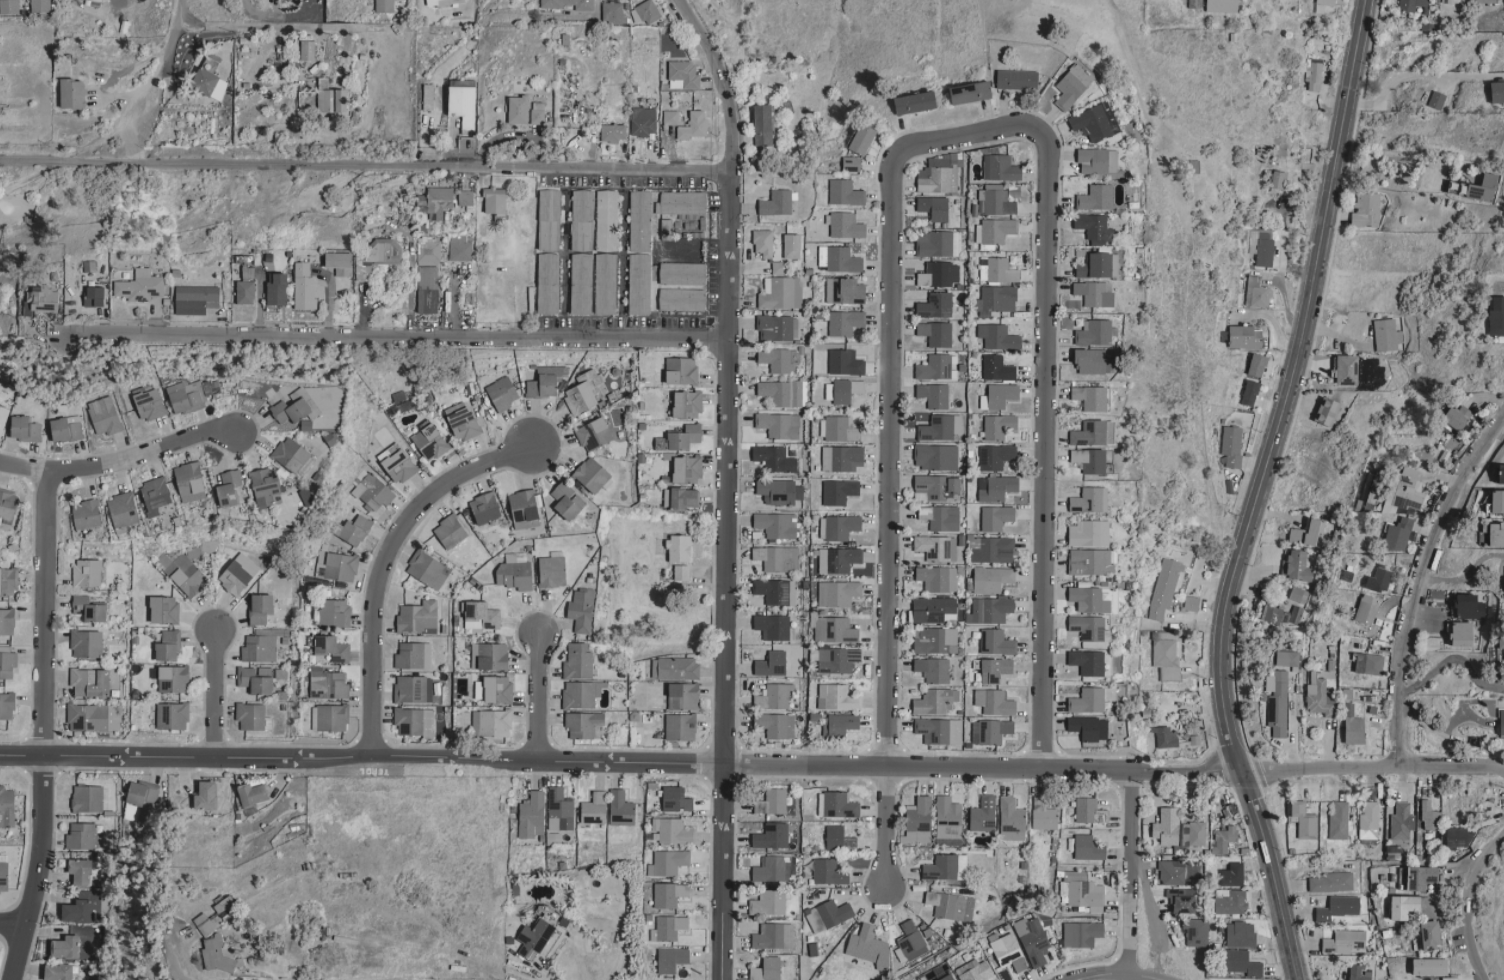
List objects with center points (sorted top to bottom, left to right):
building: (1447, 1)
building: (1485, 1)
building: (443, 2)
building: (568, 4)
road: (601, 4)
building: (1410, 4)
building: (1327, 5)
building: (39, 6)
building: (384, 6)
building: (1222, 6)
building: (8, 7)
road: (735, 7)
building: (648, 12)
building: (613, 13)
road: (275, 14)
road: (257, 25)
road: (174, 36)
road: (711, 43)
building: (307, 51)
building: (1314, 74)
building: (683, 75)
building: (1017, 80)
building: (208, 84)
road: (1403, 85)
building: (1072, 87)
building: (1498, 92)
building: (971, 93)
building: (73, 94)
building: (428, 97)
building: (1437, 100)
building: (331, 101)
building: (463, 101)
building: (915, 103)
building: (528, 112)
building: (670, 117)
building: (643, 121)
building: (1094, 123)
building: (694, 126)
building: (763, 128)
building: (614, 133)
building: (862, 139)
road: (1390, 160)
building: (1098, 161)
road: (368, 163)
building: (851, 164)
building: (1000, 168)
building: (938, 177)
building: (1277, 182)
building: (1476, 188)
building: (845, 193)
building: (1096, 198)
building: (468, 199)
building: (497, 202)
building: (438, 203)
building: (682, 203)
building: (994, 203)
building: (776, 204)
building: (934, 208)
building: (1367, 210)
building: (549, 220)
building: (582, 220)
building: (606, 220)
building: (640, 221)
building: (845, 226)
building: (1095, 228)
building: (763, 243)
building: (938, 244)
building: (792, 246)
building: (1261, 247)
building: (461, 249)
building: (382, 259)
building: (839, 259)
building: (347, 266)
building: (1097, 266)
building: (778, 268)
building: (997, 271)
building: (682, 274)
building: (939, 274)
building: (255, 275)
building: (548, 284)
building: (581, 284)
building: (605, 284)
building: (639, 284)
building: (146, 289)
building: (312, 290)
building: (844, 291)
building: (780, 293)
building: (1257, 293)
building: (1094, 294)
building: (252, 295)
building: (285, 295)
building: (995, 299)
building: (102, 300)
building: (682, 300)
building: (202, 302)
building: (430, 302)
building: (51, 303)
building: (935, 306)
building: (1494, 311)
building: (842, 324)
building: (777, 328)
road: (403, 333)
building: (937, 333)
building: (1094, 333)
building: (1383, 334)
building: (999, 337)
building: (775, 360)
building: (1091, 362)
building: (844, 363)
building: (937, 368)
building: (997, 369)
building: (1340, 369)
building: (681, 370)
building: (545, 381)
building: (210, 387)
building: (843, 391)
building: (783, 392)
building: (1246, 392)
building: (502, 393)
building: (582, 393)
building: (933, 395)
building: (184, 397)
building: (999, 397)
building: (1091, 398)
building: (148, 401)
building: (687, 403)
building: (313, 405)
building: (290, 410)
building: (1322, 411)
building: (104, 415)
building: (1448, 415)
building: (3, 416)
building: (464, 423)
building: (778, 424)
road: (734, 425)
building: (999, 427)
building: (25, 428)
building: (66, 428)
building: (940, 428)
building: (836, 429)
road: (1050, 430)
building: (594, 434)
building: (1092, 434)
building: (684, 437)
building: (431, 441)
building: (1230, 446)
road: (893, 453)
building: (293, 455)
building: (936, 457)
building: (995, 457)
building: (774, 458)
building: (841, 458)
road: (120, 459)
building: (1090, 461)
building: (400, 465)
building: (687, 468)
building: (591, 474)
building: (190, 481)
building: (229, 487)
building: (937, 487)
building: (266, 488)
building: (996, 488)
building: (1407, 489)
building: (779, 491)
building: (839, 491)
building: (372, 492)
road: (1258, 492)
building: (155, 494)
building: (306, 497)
building: (680, 497)
building: (567, 500)
building: (1085, 500)
building: (1493, 501)
building: (8, 502)
building: (486, 507)
building: (122, 509)
building: (524, 509)
building: (86, 514)
building: (941, 517)
building: (996, 517)
building: (776, 524)
building: (839, 526)
building: (355, 530)
building: (450, 531)
building: (1303, 531)
building: (1084, 532)
building: (1395, 534)
building: (1491, 534)
building: (936, 547)
building: (679, 548)
building: (991, 549)
road: (392, 553)
building: (777, 558)
building: (841, 559)
building: (1085, 560)
building: (336, 565)
building: (1292, 565)
building: (427, 569)
building: (552, 569)
building: (515, 571)
building: (87, 572)
building: (182, 572)
building: (681, 572)
road: (1468, 572)
building: (239, 573)
building: (937, 578)
building: (992, 579)
building: (1374, 579)
building: (8, 580)
building: (1162, 587)
building: (1501, 588)
road: (1425, 590)
building: (775, 591)
building: (838, 593)
building: (1085, 599)
building: (1463, 603)
building: (261, 607)
building: (89, 608)
building: (164, 608)
building: (1362, 608)
building: (581, 609)
building: (934, 609)
building: (990, 609)
building: (335, 612)
building: (1279, 614)
building: (480, 616)
building: (418, 617)
building: (7, 621)
building: (772, 626)
building: (1085, 627)
building: (832, 629)
building: (1452, 633)
building: (934, 640)
building: (996, 642)
building: (86, 643)
building: (168, 646)
building: (1498, 646)
building: (259, 648)
building: (331, 649)
building: (1164, 654)
building: (413, 655)
building: (489, 655)
building: (834, 659)
building: (578, 661)
building: (1084, 661)
road: (1450, 662)
building: (772, 663)
building: (1365, 663)
building: (7, 664)
building: (674, 668)
building: (932, 669)
building: (995, 669)
building: (281, 673)
building: (174, 679)
building: (256, 679)
building: (90, 682)
building: (328, 684)
road: (218, 687)
building: (412, 688)
road: (545, 688)
building: (498, 689)
building: (580, 693)
building: (684, 695)
building: (1314, 695)
building: (772, 696)
building: (837, 697)
building: (1084, 700)
building: (933, 701)
building: (994, 702)
building: (1275, 704)
building: (7, 705)
building: (172, 715)
building: (252, 716)
building: (86, 717)
building: (329, 717)
building: (417, 721)
building: (491, 722)
building: (1498, 723)
building: (582, 724)
building: (775, 724)
building: (839, 724)
building: (1348, 725)
road: (53, 726)
building: (681, 726)
building: (1086, 727)
building: (939, 730)
building: (990, 731)
building: (1162, 736)
building: (1185, 739)
road: (752, 756)
building: (253, 794)
building: (207, 795)
building: (87, 798)
building: (144, 799)
building: (676, 799)
building: (772, 802)
building: (836, 805)
building: (7, 807)
building: (594, 808)
building: (621, 808)
building: (559, 809)
building: (983, 813)
building: (1043, 814)
building: (531, 815)
building: (1427, 815)
building: (948, 818)
building: (1011, 819)
building: (1300, 819)
building: (1336, 821)
building: (1366, 821)
building: (1399, 821)
building: (917, 822)
building: (1164, 826)
building: (672, 831)
building: (1192, 833)
building: (80, 836)
building: (771, 836)
building: (1456, 838)
building: (839, 839)
building: (1220, 839)
building: (1088, 847)
building: (668, 862)
road: (728, 867)
building: (946, 867)
building: (769, 869)
road: (1134, 869)
building: (828, 872)
building: (1169, 872)
building: (1230, 874)
building: (4, 877)
building: (1328, 881)
building: (1081, 890)
building: (669, 894)
road: (1461, 899)
building: (1176, 900)
building: (768, 902)
building: (1228, 902)
building: (225, 905)
building: (951, 905)
building: (1396, 906)
building: (1335, 907)
road: (18, 915)
building: (828, 915)
building: (203, 924)
building: (668, 927)
building: (1193, 931)
building: (1424, 933)
building: (1082, 934)
building: (1236, 934)
building: (773, 936)
building: (536, 938)
building: (1032, 940)
building: (1344, 940)
building: (869, 946)
building: (67, 947)
building: (1008, 952)
building: (216, 954)
building: (671, 959)
building: (1238, 962)
road: (179, 963)
building: (1424, 966)
building: (767, 969)
road: (1117, 970)
building: (59, 972)
building: (1354, 973)
building: (950, 977)

